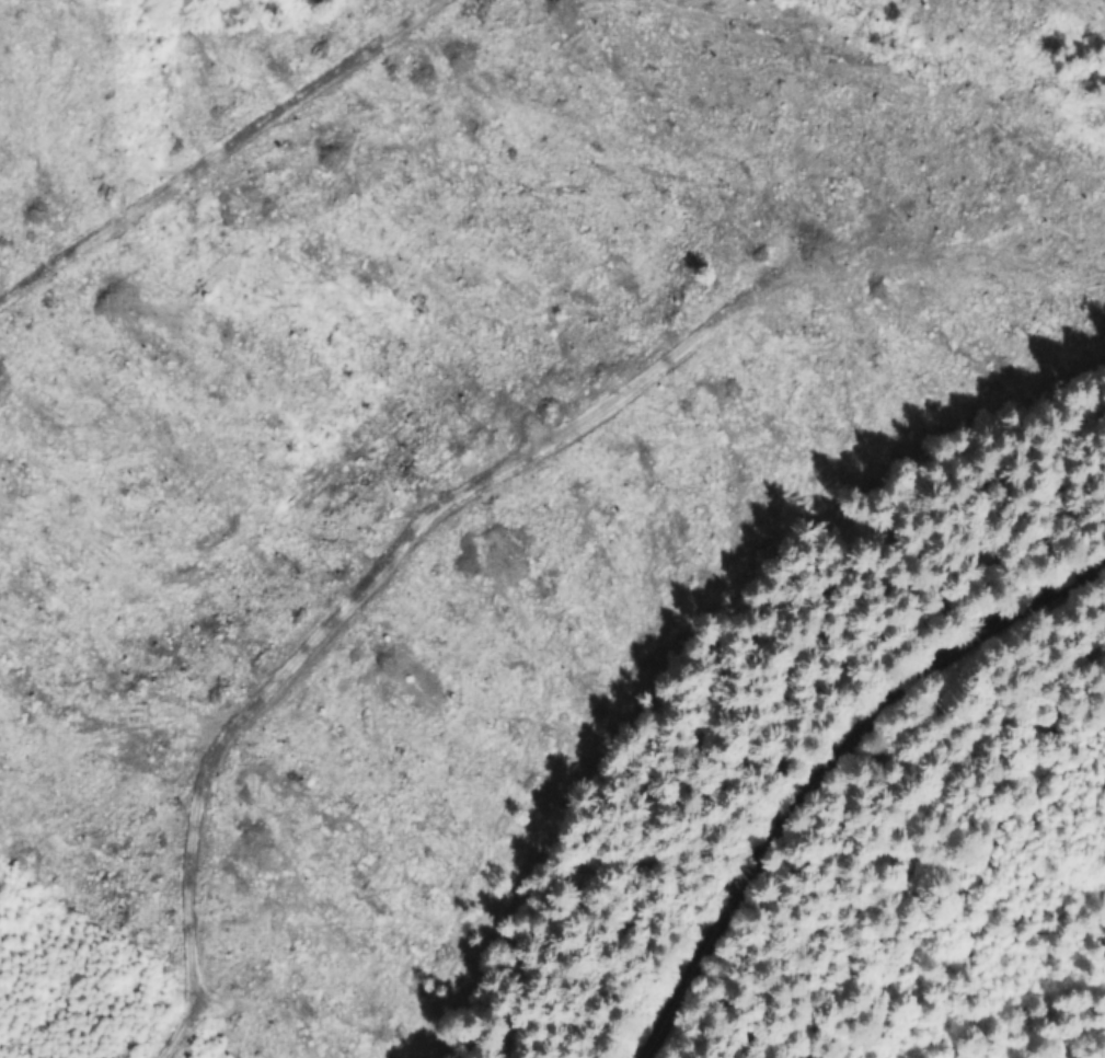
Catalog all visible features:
road: (825, 766)

